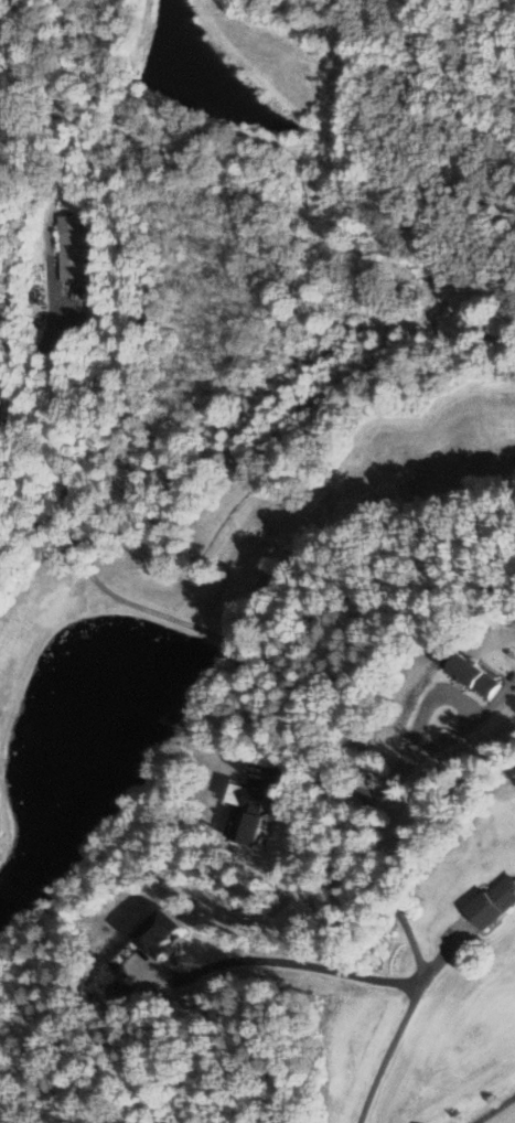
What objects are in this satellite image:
building: (67, 247)
road: (31, 368)
building: (465, 672)
road: (453, 698)
building: (247, 813)
building: (492, 900)
road: (407, 937)
road: (276, 960)
road: (492, 1106)

